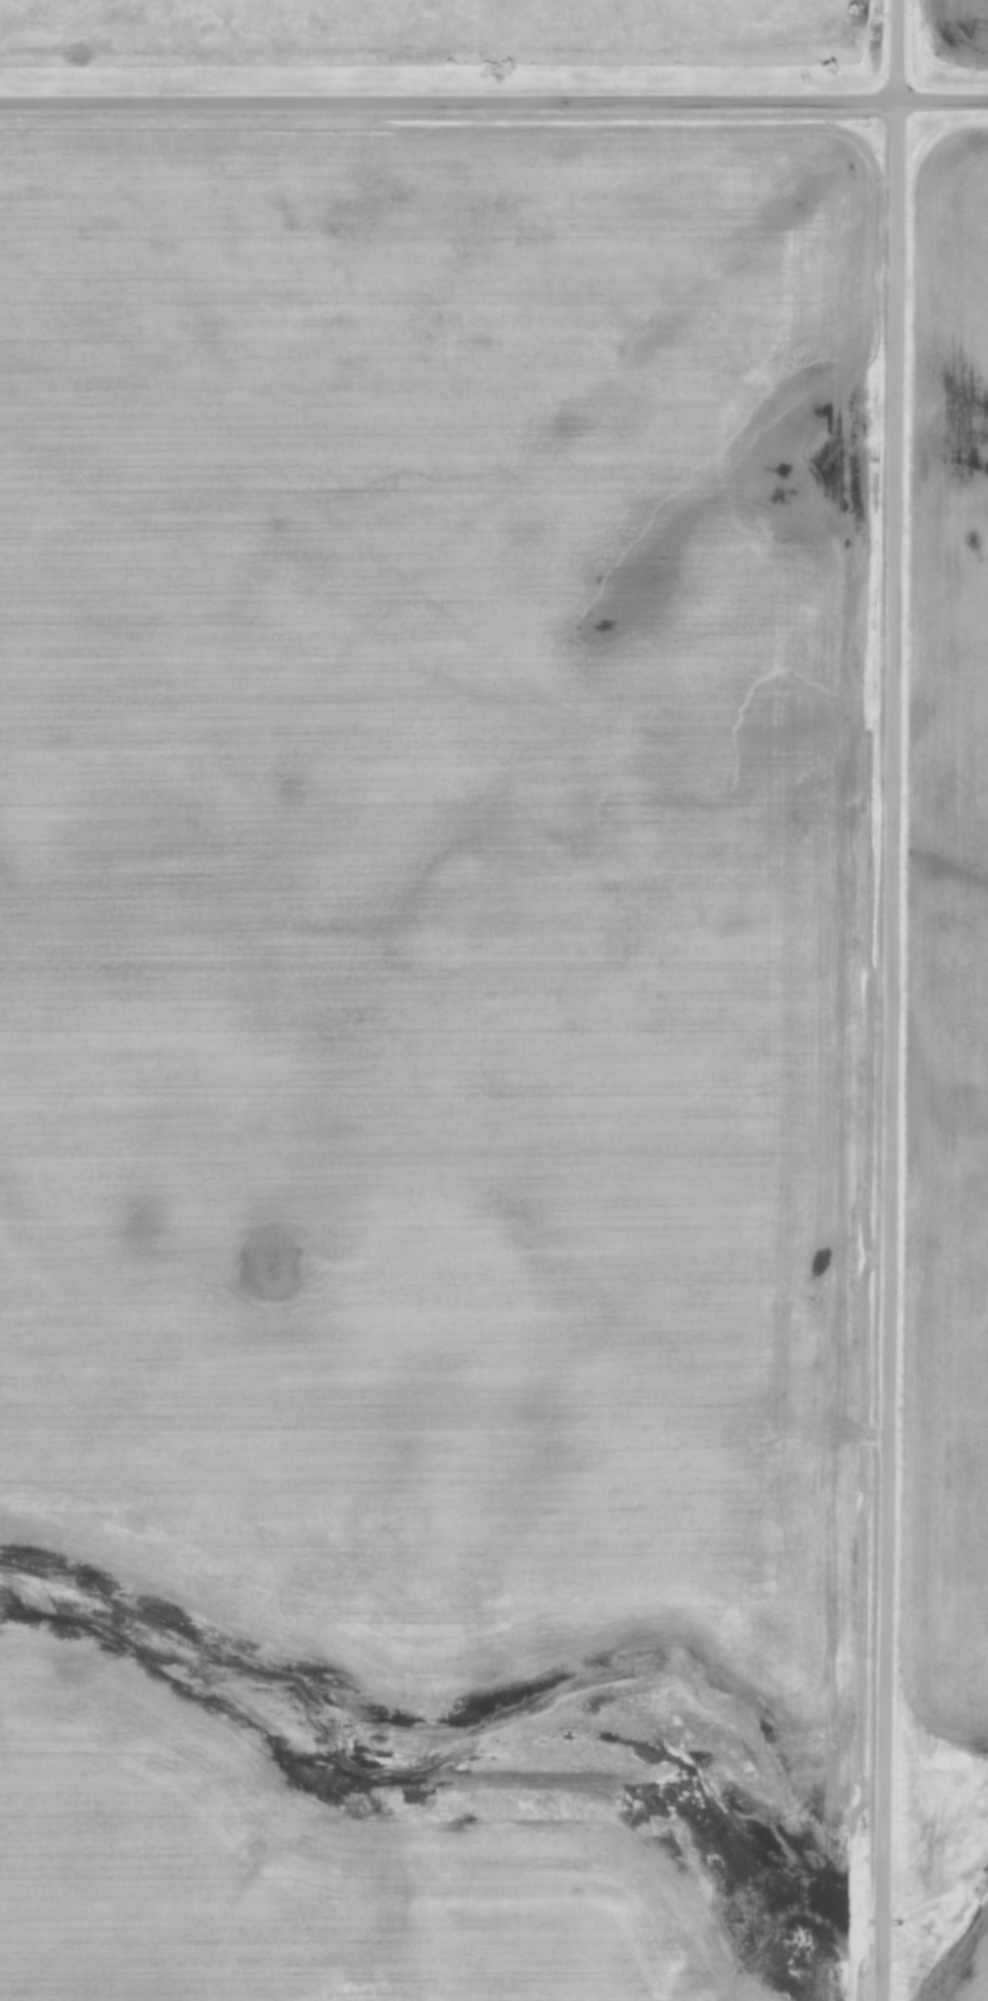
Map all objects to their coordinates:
road: (897, 49)
road: (494, 101)
road: (893, 1050)

